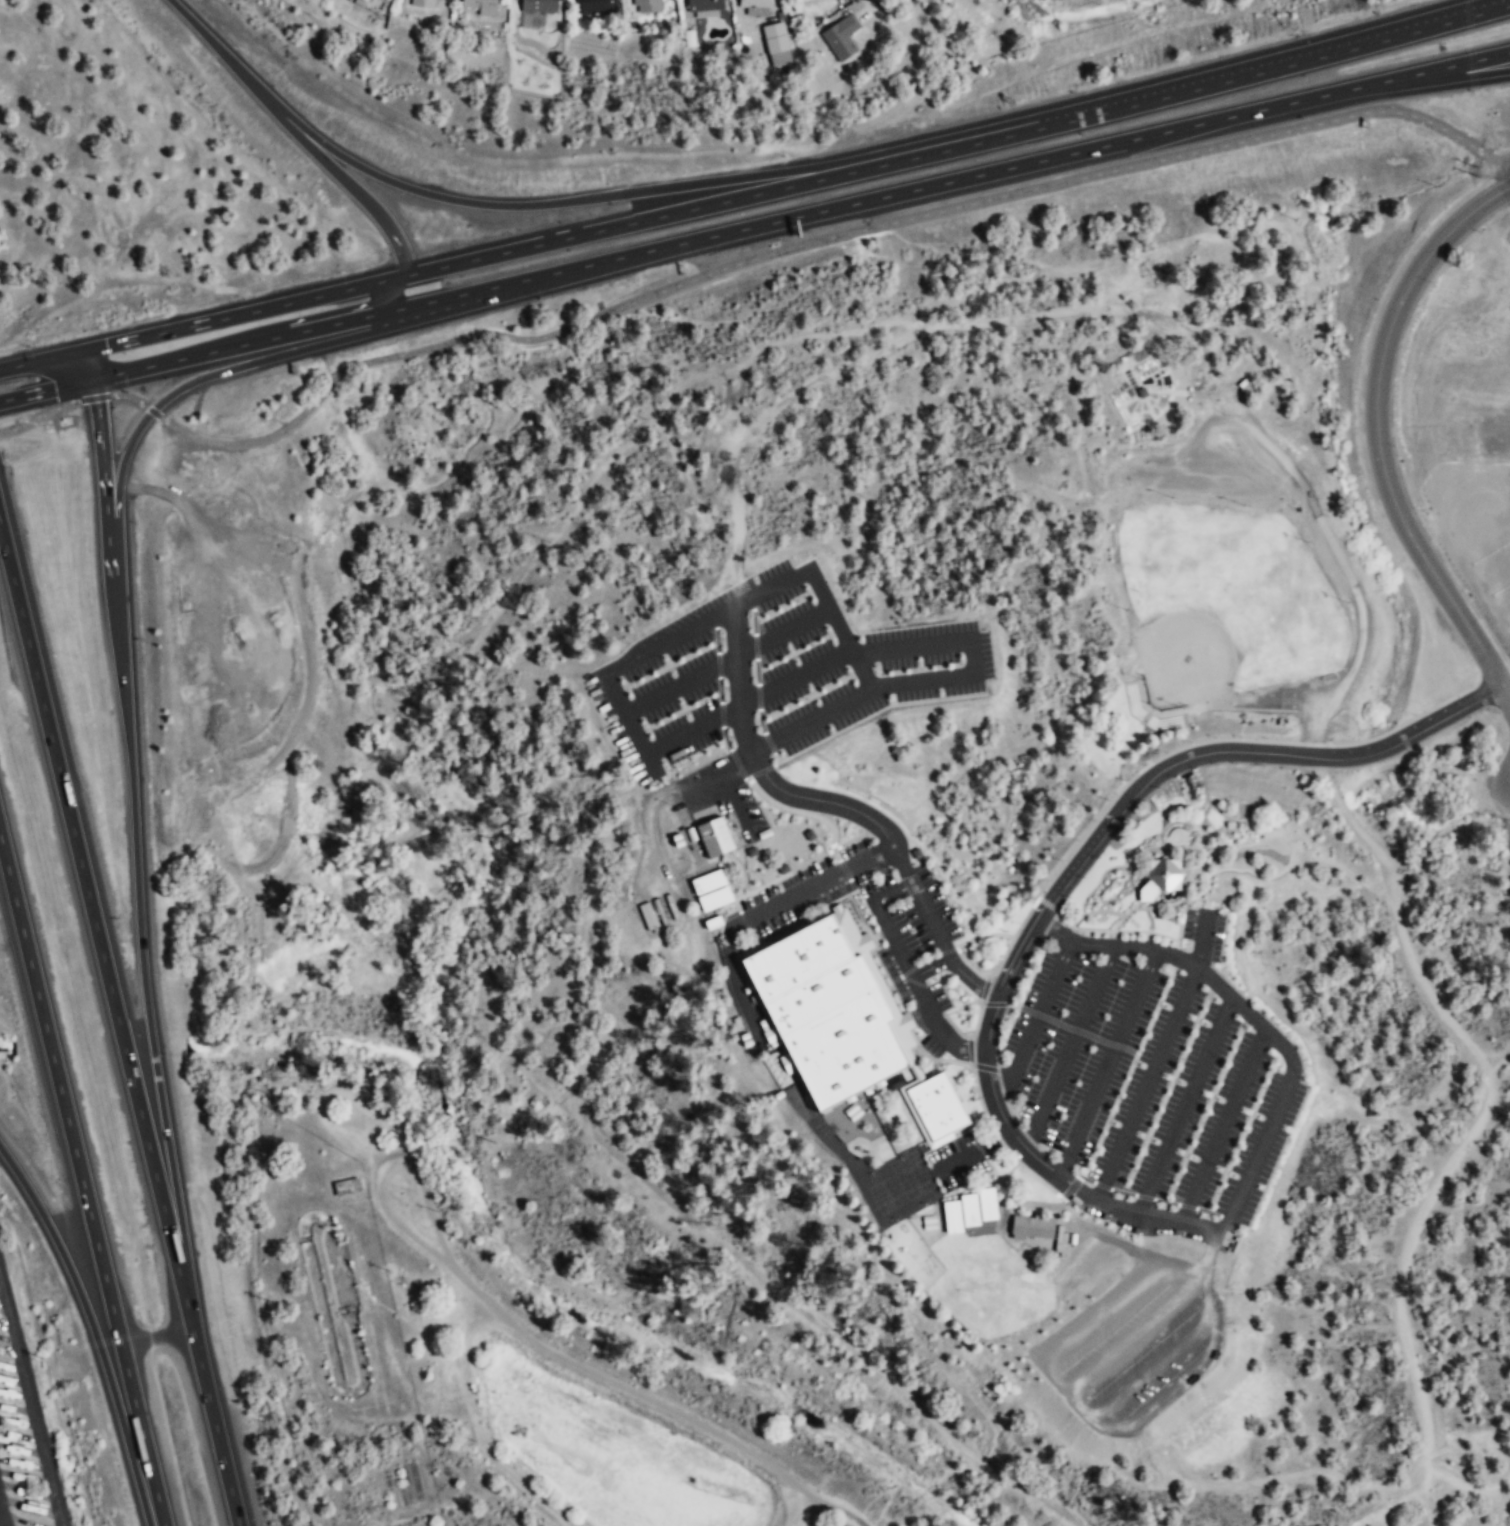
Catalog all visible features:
building: (799, 0)
building: (803, 0)
building: (364, 1)
building: (426, 4)
building: (480, 6)
building: (539, 6)
building: (758, 6)
building: (646, 7)
building: (598, 8)
building: (704, 8)
road: (1432, 25)
road: (1432, 30)
building: (840, 38)
building: (776, 44)
building: (591, 45)
road: (1216, 83)
road: (1425, 83)
road: (1304, 99)
road: (802, 189)
road: (357, 190)
road: (1480, 202)
road: (498, 209)
road: (818, 212)
road: (821, 247)
road: (465, 264)
road: (458, 300)
road: (202, 322)
road: (188, 357)
road: (225, 371)
road: (110, 397)
road: (152, 411)
road: (39, 416)
road: (1387, 468)
road: (1474, 494)
road: (1445, 526)
parking lot: (1472, 534)
road: (1484, 534)
road: (1493, 570)
road: (821, 599)
park: (1224, 602)
road: (1500, 602)
road: (850, 649)
road: (652, 650)
road: (970, 653)
parking lot: (773, 672)
road: (757, 682)
road: (680, 683)
road: (1506, 684)
road: (721, 705)
road: (874, 713)
road: (672, 740)
road: (777, 757)
road: (761, 771)
road: (746, 778)
fountain: (1187, 785)
road: (1195, 800)
road: (1223, 800)
road: (775, 803)
road: (838, 804)
road: (1207, 805)
road: (1227, 818)
road: (1178, 820)
road: (1200, 822)
road: (1192, 827)
road: (833, 832)
road: (136, 837)
building: (713, 837)
road: (1162, 845)
road: (1180, 848)
road: (1129, 865)
road: (793, 870)
road: (847, 875)
building: (1161, 878)
road: (1097, 881)
road: (811, 886)
building: (710, 890)
road: (1199, 892)
road: (1048, 903)
road: (1095, 911)
road: (1127, 912)
road: (819, 915)
road: (1149, 920)
road: (1180, 925)
road: (746, 928)
road: (96, 929)
road: (1113, 931)
road: (983, 936)
road: (741, 945)
road: (1015, 954)
road: (1003, 956)
road: (921, 962)
road: (1185, 962)
road: (910, 971)
road: (887, 976)
road: (737, 992)
building: (827, 1012)
road: (1036, 1020)
building: (744, 1036)
building: (747, 1042)
road: (1069, 1047)
road: (940, 1055)
road: (945, 1058)
road: (1154, 1062)
road: (1106, 1063)
road: (928, 1069)
parking lot: (1147, 1080)
road: (976, 1089)
road: (61, 1091)
building: (778, 1095)
road: (1184, 1105)
building: (938, 1106)
road: (914, 1113)
road: (1223, 1125)
road: (997, 1137)
road: (974, 1144)
road: (994, 1150)
road: (1258, 1154)
parking lot: (959, 1160)
road: (386, 1164)
road: (1008, 1172)
road: (1031, 1174)
road: (996, 1176)
road: (969, 1187)
road: (1010, 1199)
building: (987, 1204)
building: (969, 1210)
road: (1028, 1215)
building: (953, 1217)
building: (1032, 1227)
road: (68, 1234)
road: (1134, 1329)
parking lot: (1132, 1347)
road: (1152, 1367)
road: (31, 1403)
road: (655, 1404)
road: (1083, 1407)
road: (215, 1431)
road: (137, 1438)
road: (1, 1517)

